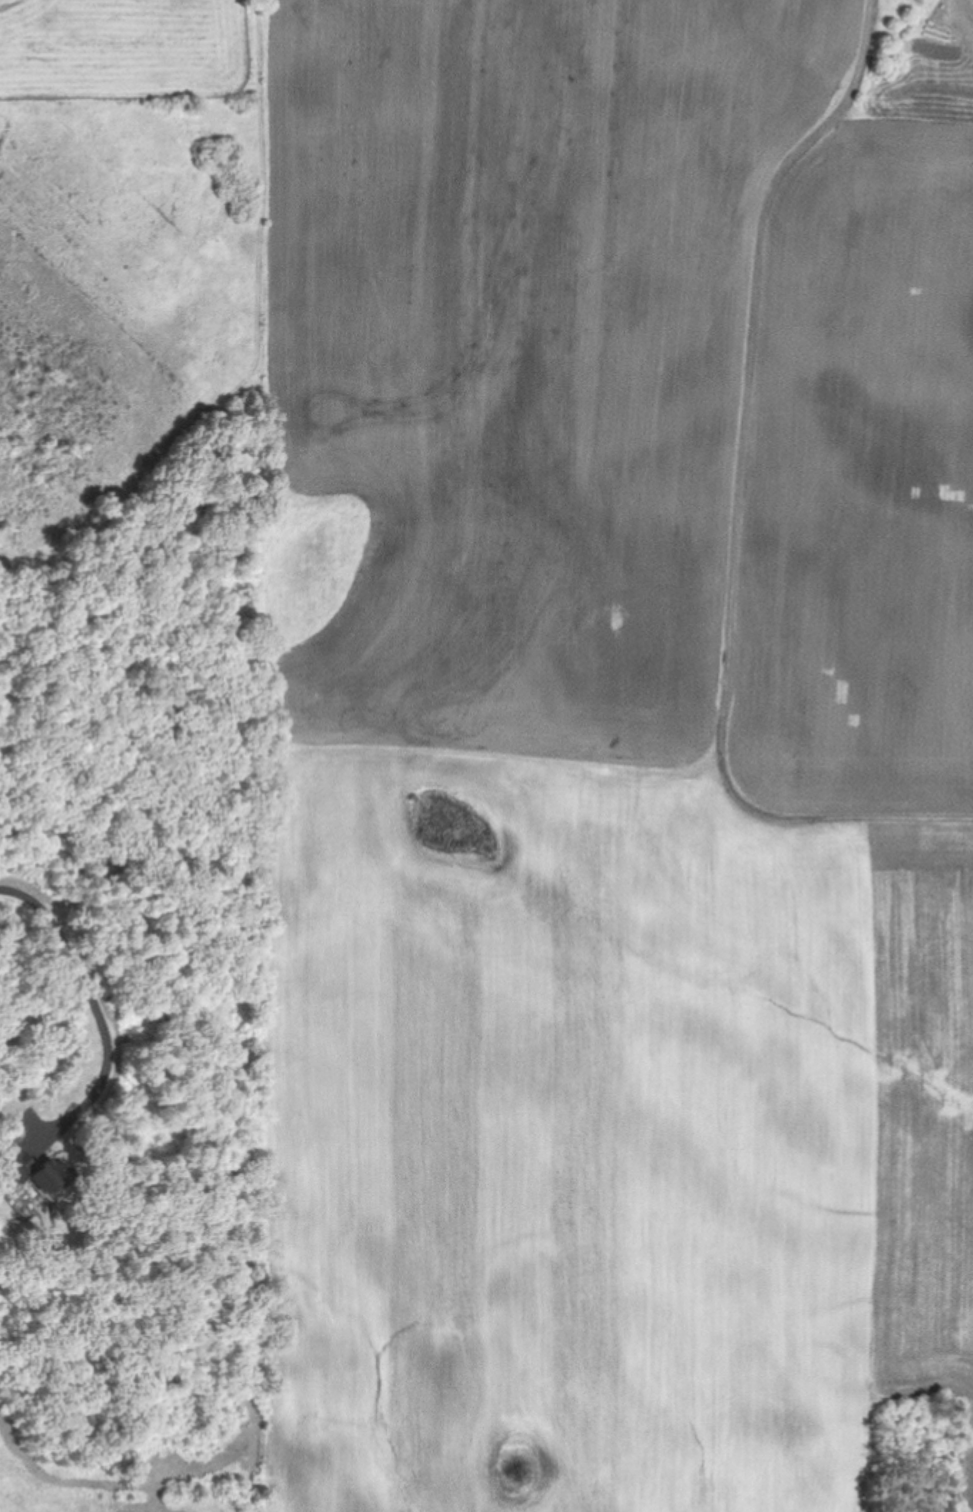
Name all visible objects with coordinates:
road: (92, 990)
park: (121, 1159)
building: (38, 1171)

